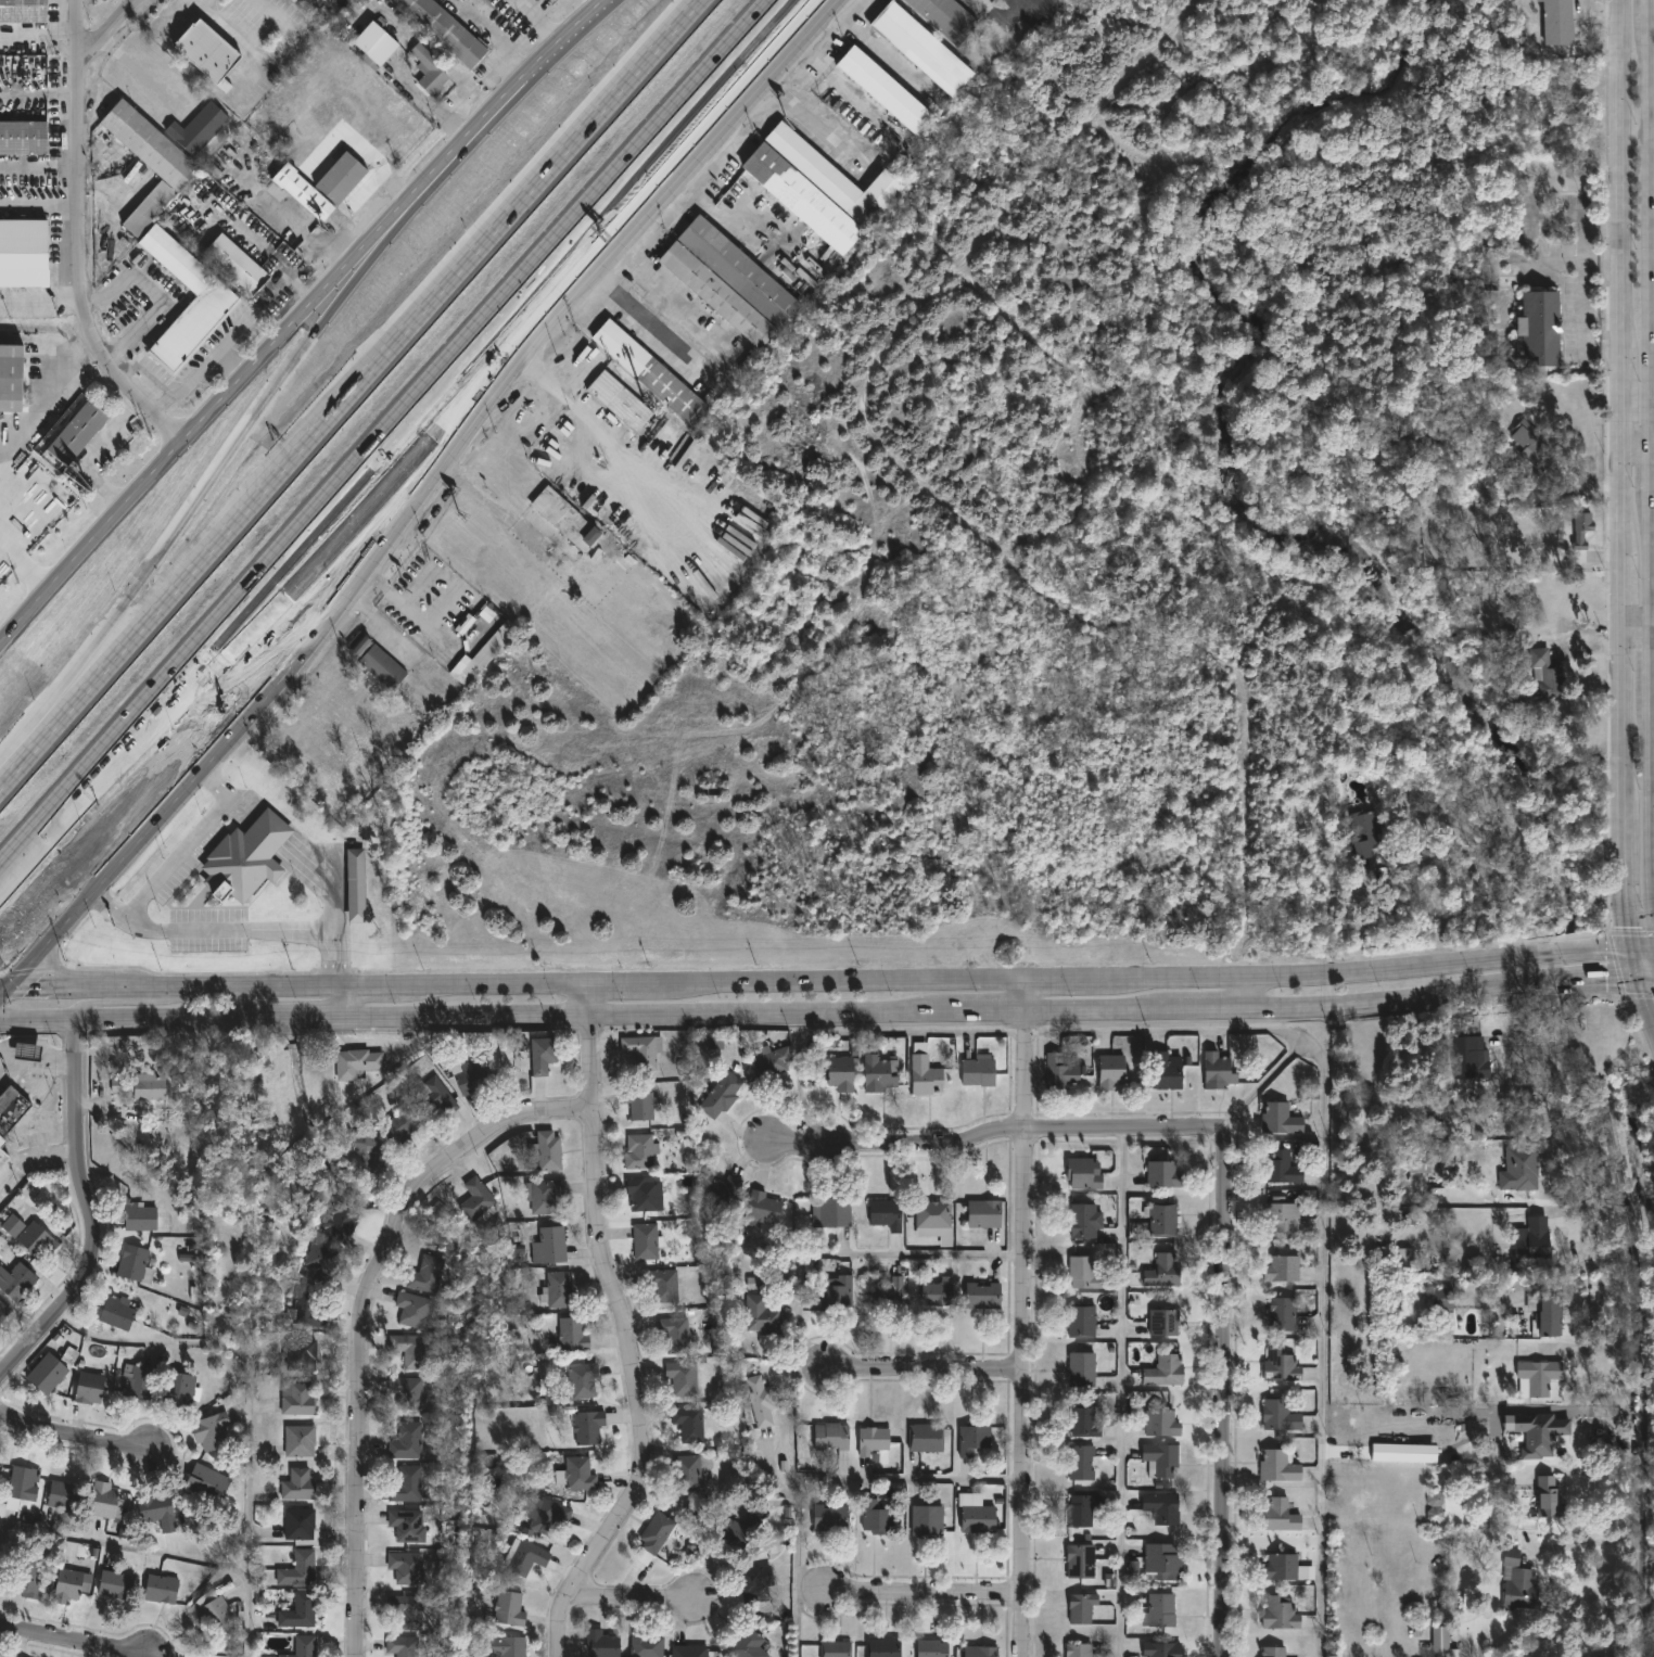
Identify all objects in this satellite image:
road: (193, 1)
road: (196, 1)
road: (966, 1)
road: (1027, 7)
building: (22, 12)
building: (946, 17)
road: (473, 18)
building: (1558, 22)
building: (443, 30)
road: (114, 31)
building: (372, 47)
building: (923, 48)
road: (879, 49)
building: (204, 51)
road: (511, 56)
road: (544, 60)
road: (263, 65)
road: (136, 72)
building: (428, 72)
building: (885, 88)
road: (845, 90)
road: (431, 113)
building: (338, 117)
road: (734, 120)
road: (814, 124)
building: (199, 129)
building: (22, 138)
building: (145, 162)
road: (1620, 182)
building: (319, 184)
building: (819, 187)
road: (1553, 213)
road: (727, 217)
road: (309, 239)
road: (81, 241)
building: (22, 254)
road: (1563, 262)
building: (234, 265)
building: (729, 281)
road: (298, 290)
road: (154, 297)
road: (1583, 306)
road: (662, 323)
building: (190, 326)
building: (1542, 326)
road: (200, 369)
building: (650, 372)
building: (11, 378)
road: (239, 385)
road: (347, 393)
road: (42, 398)
building: (620, 399)
road: (1620, 403)
road: (1093, 415)
road: (265, 416)
road: (408, 417)
building: (77, 432)
road: (607, 438)
road: (1637, 442)
building: (1530, 444)
road: (89, 454)
road: (1652, 457)
road: (936, 501)
road: (1620, 508)
road: (496, 515)
building: (567, 519)
building: (1583, 530)
road: (329, 537)
road: (24, 568)
road: (1621, 600)
road: (403, 609)
road: (328, 622)
road: (1638, 625)
road: (381, 626)
building: (376, 660)
building: (468, 665)
building: (1549, 673)
road: (1621, 731)
road: (215, 783)
building: (1364, 833)
road: (16, 854)
road: (180, 855)
building: (246, 856)
building: (357, 883)
road: (1621, 894)
road: (1350, 905)
road: (1372, 921)
road: (232, 929)
traffic signals: (1628, 951)
road: (1641, 951)
road: (1631, 965)
road: (1360, 970)
road: (1059, 977)
road: (839, 979)
traffic signals: (1634, 979)
road: (1644, 979)
road: (621, 981)
road: (495, 982)
road: (373, 983)
road: (224, 984)
road: (5, 985)
traffic signals: (11, 985)
road: (56, 985)
road: (1242, 991)
road: (5, 992)
road: (345, 999)
road: (128, 1002)
road: (1644, 1007)
road: (857, 1010)
road: (39, 1018)
road: (907, 1034)
road: (1547, 1037)
building: (27, 1049)
building: (542, 1053)
building: (640, 1053)
building: (1475, 1057)
building: (772, 1060)
building: (355, 1061)
road: (39, 1067)
building: (1219, 1068)
building: (978, 1070)
building: (1061, 1070)
building: (1167, 1070)
building: (835, 1071)
building: (879, 1071)
building: (1111, 1072)
building: (472, 1074)
building: (925, 1074)
building: (139, 1084)
road: (1258, 1087)
building: (721, 1094)
building: (433, 1098)
building: (640, 1104)
building: (11, 1108)
building: (1280, 1117)
building: (400, 1124)
building: (1, 1140)
road: (996, 1144)
building: (366, 1147)
building: (548, 1149)
building: (639, 1150)
building: (2, 1155)
road: (51, 1155)
building: (1418, 1161)
building: (1282, 1168)
building: (1517, 1169)
road: (8, 1172)
building: (1082, 1173)
building: (1162, 1173)
building: (641, 1193)
building: (722, 1193)
building: (476, 1197)
building: (546, 1197)
road: (1322, 1204)
building: (763, 1207)
building: (834, 1210)
building: (886, 1212)
building: (931, 1213)
building: (984, 1213)
building: (139, 1216)
building: (1280, 1216)
road: (96, 1218)
building: (1161, 1219)
building: (1084, 1220)
building: (340, 1221)
building: (12, 1225)
park: (1639, 1226)
building: (37, 1241)
building: (645, 1241)
building: (1532, 1242)
building: (549, 1244)
road: (850, 1254)
building: (320, 1261)
building: (131, 1262)
building: (1280, 1267)
building: (1162, 1270)
building: (1082, 1272)
building: (425, 1274)
building: (16, 1280)
building: (662, 1285)
building: (556, 1289)
building: (938, 1291)
building: (837, 1292)
building: (887, 1293)
building: (982, 1293)
building: (1441, 1298)
building: (308, 1309)
building: (413, 1309)
building: (3, 1311)
building: (117, 1311)
building: (1281, 1313)
building: (761, 1314)
road: (1021, 1316)
building: (1548, 1316)
road: (361, 1318)
building: (1080, 1321)
building: (1162, 1322)
road: (625, 1328)
building: (572, 1334)
building: (673, 1334)
road: (1634, 1340)
building: (409, 1352)
building: (301, 1353)
building: (69, 1356)
road: (250, 1364)
building: (1281, 1364)
building: (1081, 1368)
building: (1163, 1369)
building: (47, 1373)
road: (925, 1373)
building: (1536, 1376)
building: (680, 1377)
building: (136, 1380)
building: (582, 1380)
building: (88, 1387)
building: (179, 1388)
road: (1120, 1393)
building: (406, 1394)
building: (296, 1398)
road: (1223, 1398)
building: (760, 1399)
building: (1278, 1414)
building: (1083, 1422)
building: (688, 1423)
building: (1160, 1423)
building: (587, 1426)
building: (212, 1430)
building: (1538, 1432)
building: (830, 1436)
building: (926, 1437)
building: (972, 1438)
building: (873, 1439)
building: (298, 1440)
road: (73, 1441)
building: (406, 1441)
building: (1400, 1453)
building: (1159, 1458)
building: (1081, 1462)
building: (1276, 1465)
road: (1588, 1470)
building: (578, 1473)
building: (687, 1473)
road: (820, 1478)
building: (21, 1482)
building: (207, 1482)
building: (298, 1483)
building: (406, 1483)
building: (62, 1495)
building: (1548, 1496)
building: (1435, 1499)
building: (103, 1500)
building: (1160, 1507)
building: (1081, 1509)
building: (156, 1511)
building: (690, 1513)
building: (545, 1515)
building: (1278, 1515)
building: (830, 1517)
building: (875, 1517)
building: (978, 1519)
building: (927, 1520)
building: (298, 1524)
building: (406, 1525)
building: (737, 1530)
building: (656, 1534)
road: (1583, 1545)
road: (165, 1552)
building: (526, 1557)
building: (1161, 1559)
building: (1079, 1560)
building: (405, 1566)
building: (1285, 1567)
building: (297, 1569)
building: (1, 1576)
building: (29, 1579)
building: (1516, 1581)
building: (752, 1583)
building: (71, 1584)
building: (115, 1584)
building: (161, 1589)
road: (923, 1598)
road: (632, 1602)
building: (1080, 1607)
building: (508, 1608)
building: (1159, 1609)
building: (298, 1610)
building: (406, 1610)
building: (211, 1611)
building: (1278, 1613)
building: (1440, 1640)
building: (601, 1643)
building: (646, 1643)
building: (748, 1643)
road: (65, 1644)
building: (508, 1645)
building: (303, 1646)
building: (402, 1646)
building: (882, 1646)
building: (932, 1647)
building: (835, 1648)
building: (1078, 1649)
building: (1161, 1649)
building: (688, 1650)
building: (980, 1650)
building: (1271, 1652)

